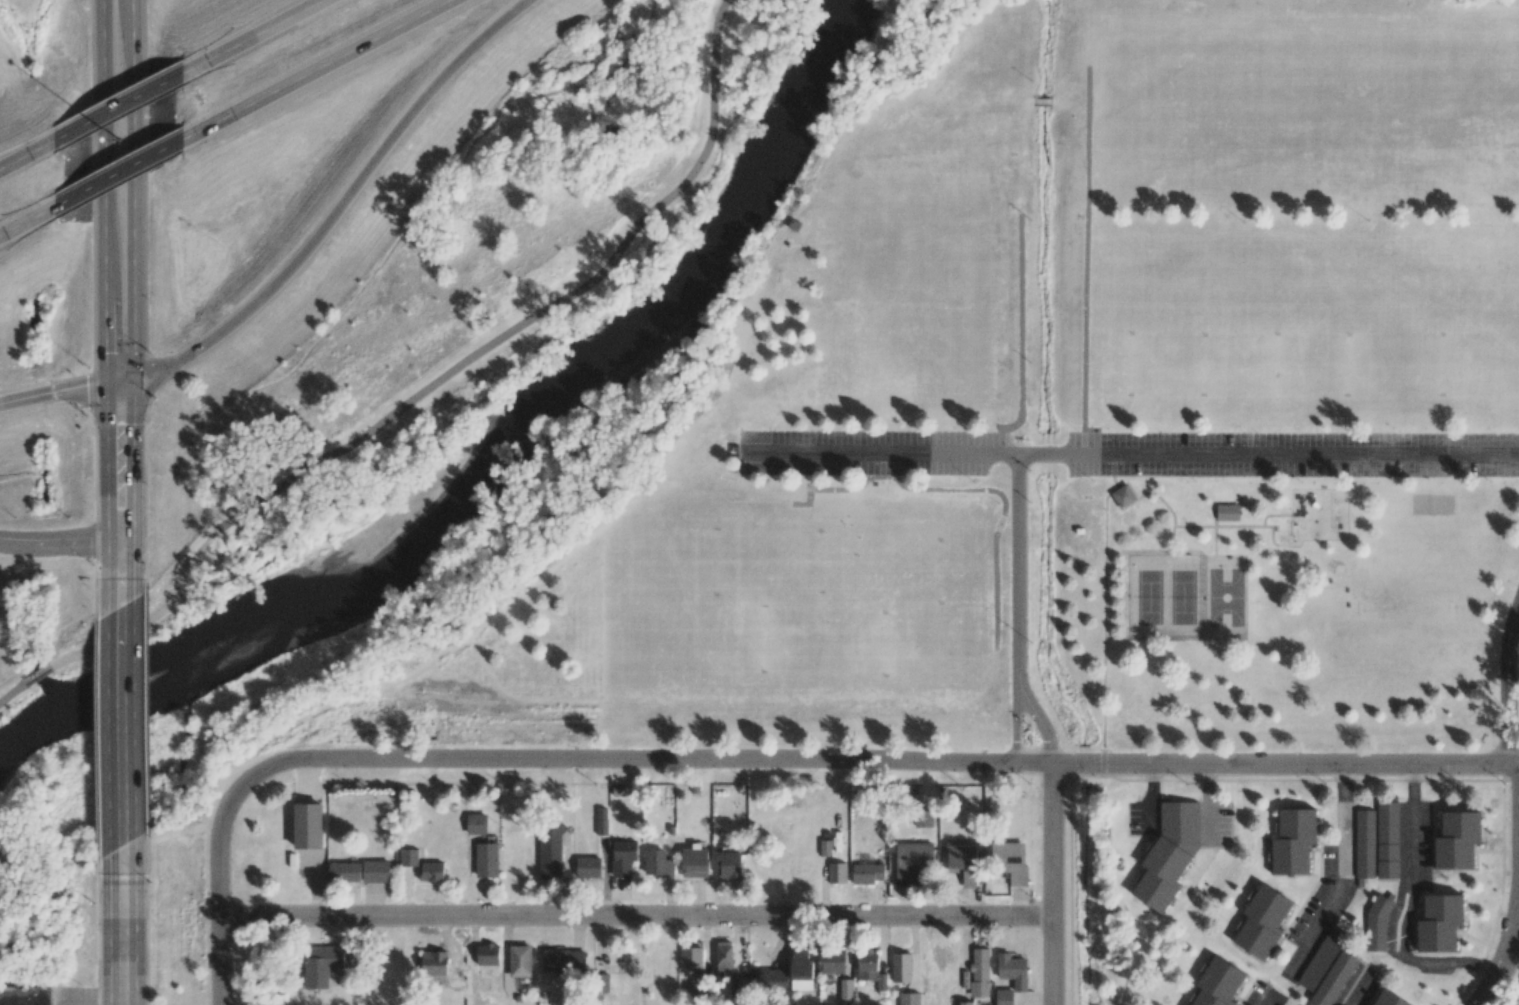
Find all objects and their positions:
road: (259, 35)
road: (323, 67)
road: (120, 107)
park: (1171, 109)
park: (1310, 114)
street lamp: (120, 141)
road: (23, 157)
road: (123, 172)
road: (131, 189)
road: (105, 192)
road: (341, 204)
road: (24, 223)
building: (797, 224)
road: (1086, 249)
park: (923, 281)
park: (1190, 310)
road: (1021, 326)
traffic signals: (106, 351)
road: (447, 372)
traffic signals: (85, 388)
road: (66, 390)
traffic signals: (134, 423)
park: (1006, 429)
river: (489, 445)
parking lot: (868, 451)
road: (1131, 454)
parking lot: (1292, 454)
road: (134, 459)
road: (107, 462)
building: (1125, 496)
park: (1432, 503)
building: (1230, 512)
road: (60, 543)
park: (45, 561)
road: (121, 565)
road: (1018, 569)
park: (1166, 597)
park: (1226, 597)
park: (663, 602)
park: (796, 602)
park: (932, 603)
park: (1391, 615)
road: (40, 673)
road: (1507, 684)
road: (12, 689)
road: (1040, 722)
road: (1014, 723)
road: (122, 728)
road: (529, 757)
road: (1285, 764)
building: (925, 806)
building: (601, 821)
building: (476, 824)
building: (307, 826)
building: (1387, 839)
building: (1457, 840)
building: (1293, 841)
building: (1364, 845)
building: (825, 847)
building: (550, 850)
building: (511, 852)
building: (1168, 854)
building: (408, 857)
building: (623, 857)
building: (486, 860)
building: (962, 860)
building: (911, 861)
building: (695, 862)
building: (1010, 862)
building: (658, 864)
building: (303, 865)
building: (729, 866)
building: (588, 867)
building: (523, 870)
building: (794, 870)
building: (375, 871)
building: (431, 871)
building: (344, 872)
building: (837, 873)
building: (867, 873)
road: (1344, 877)
road: (1051, 884)
road: (1402, 910)
road: (635, 917)
building: (1262, 922)
building: (1439, 923)
building: (1377, 924)
road: (1517, 925)
road: (123, 935)
road: (1505, 952)
building: (487, 954)
building: (943, 954)
building: (723, 957)
building: (1321, 958)
building: (657, 959)
building: (564, 960)
building: (691, 960)
building: (520, 961)
building: (831, 961)
building: (320, 965)
building: (439, 965)
building: (901, 967)
building: (870, 968)
building: (801, 969)
building: (1012, 970)
building: (979, 972)
building: (769, 978)
building: (1333, 979)
building: (1217, 983)
building: (736, 985)
building: (668, 988)
building: (845, 990)
road: (1354, 992)
building: (25, 995)
building: (1004, 997)
building: (909, 998)
building: (1388, 999)
road: (1272, 1001)
building: (965, 1003)

